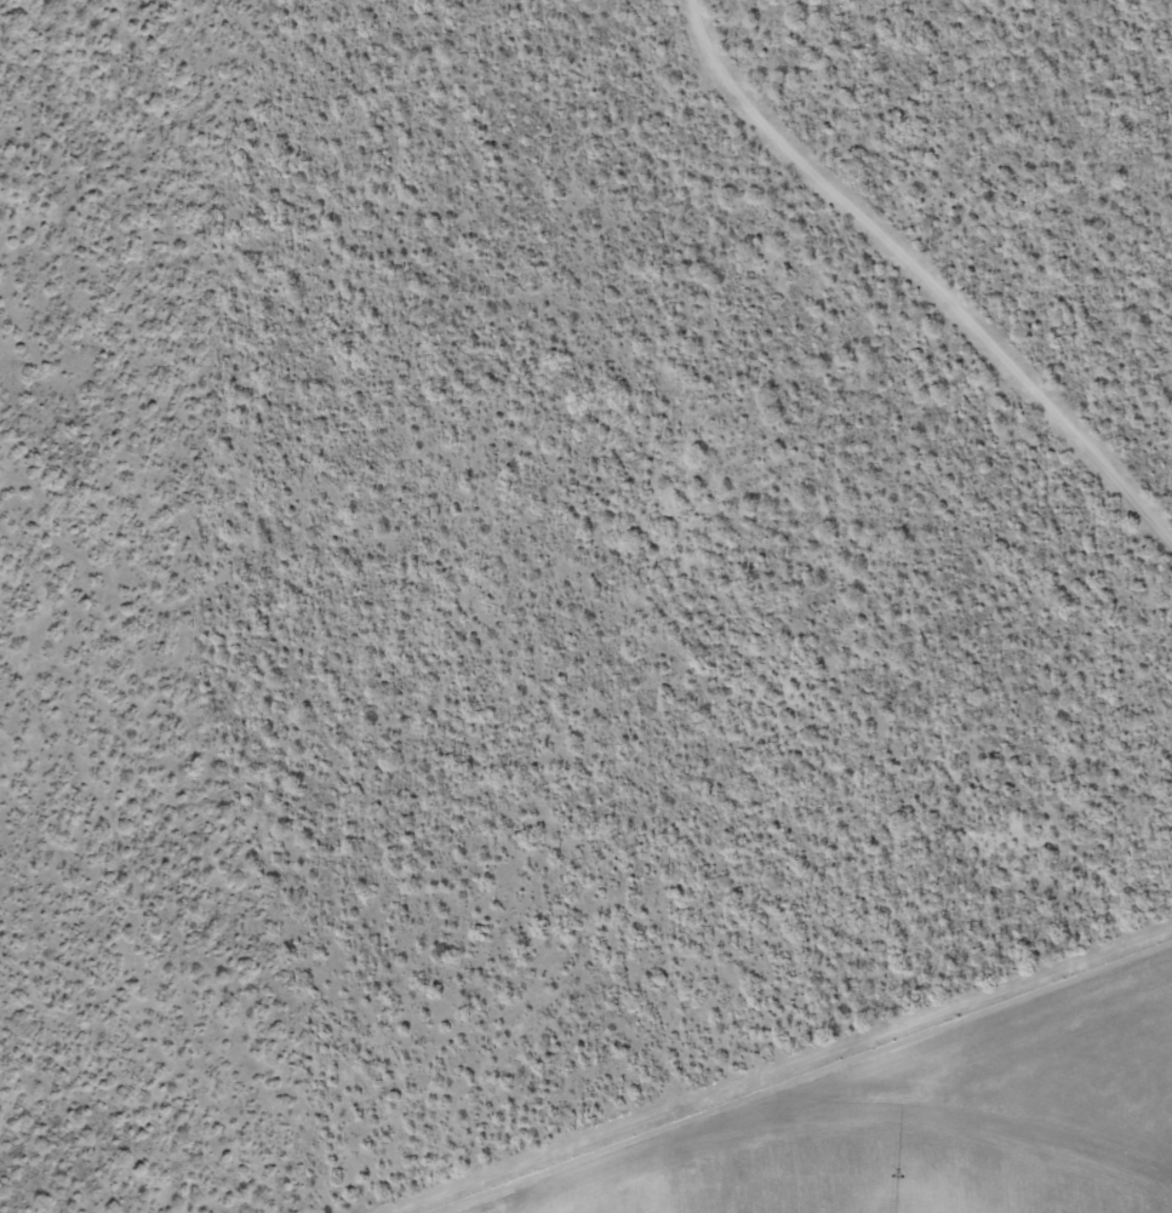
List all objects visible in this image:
road: (911, 263)

